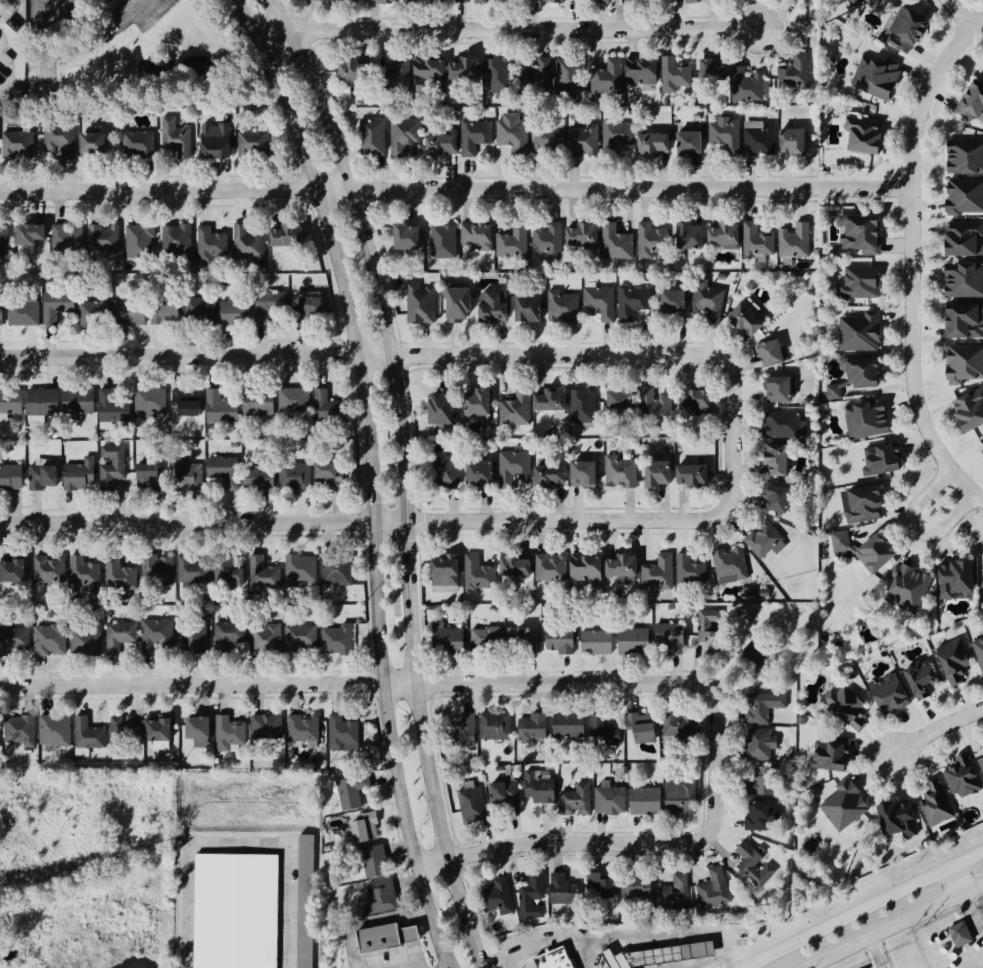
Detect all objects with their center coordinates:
building: (319, 0)
building: (417, 0)
building: (453, 0)
building: (563, 0)
building: (602, 0)
building: (638, 0)
building: (392, 1)
building: (482, 1)
building: (693, 1)
building: (848, 3)
road: (957, 15)
road: (504, 29)
building: (901, 32)
road: (88, 44)
road: (15, 52)
park: (133, 55)
building: (432, 69)
building: (468, 69)
building: (716, 69)
building: (358, 70)
building: (544, 70)
building: (645, 71)
building: (500, 74)
building: (570, 74)
building: (796, 74)
building: (676, 75)
building: (610, 76)
building: (871, 78)
building: (751, 88)
building: (969, 102)
building: (513, 133)
building: (406, 135)
building: (476, 136)
building: (618, 136)
building: (725, 136)
building: (858, 136)
building: (374, 137)
building: (177, 138)
building: (548, 139)
building: (759, 139)
building: (60, 140)
building: (584, 140)
building: (219, 141)
building: (796, 141)
building: (256, 142)
building: (19, 143)
building: (97, 143)
building: (140, 143)
building: (656, 143)
building: (692, 143)
building: (445, 144)
building: (962, 157)
road: (455, 188)
building: (962, 197)
building: (586, 234)
building: (857, 234)
building: (729, 235)
building: (33, 236)
building: (289, 236)
building: (688, 236)
building: (411, 237)
building: (479, 237)
building: (69, 238)
building: (5, 239)
building: (105, 239)
building: (178, 239)
building: (141, 240)
building: (550, 240)
building: (960, 240)
building: (445, 241)
building: (652, 241)
building: (795, 241)
building: (250, 243)
building: (618, 243)
building: (758, 243)
building: (514, 244)
building: (212, 245)
road: (911, 260)
building: (960, 281)
building: (856, 283)
building: (708, 298)
building: (602, 301)
building: (634, 301)
building: (672, 301)
building: (313, 304)
building: (421, 304)
building: (462, 304)
building: (496, 304)
building: (564, 305)
building: (60, 306)
building: (530, 308)
building: (201, 310)
building: (133, 311)
building: (168, 312)
building: (237, 312)
building: (96, 313)
building: (25, 314)
building: (2, 316)
building: (750, 317)
building: (961, 321)
building: (855, 333)
building: (774, 353)
road: (362, 354)
building: (961, 365)
building: (852, 377)
building: (781, 389)
building: (295, 400)
building: (80, 401)
building: (550, 401)
building: (624, 401)
building: (698, 401)
building: (190, 402)
building: (11, 403)
building: (151, 403)
building: (44, 404)
building: (261, 404)
building: (583, 405)
building: (657, 405)
building: (329, 407)
building: (113, 408)
building: (222, 408)
building: (446, 409)
building: (517, 410)
building: (966, 410)
building: (862, 420)
building: (787, 425)
building: (981, 451)
building: (781, 460)
building: (876, 461)
building: (112, 466)
building: (515, 468)
building: (187, 470)
building: (449, 470)
building: (226, 471)
building: (484, 472)
building: (622, 472)
building: (656, 473)
building: (554, 474)
building: (588, 474)
building: (44, 475)
building: (81, 475)
building: (150, 475)
building: (698, 475)
building: (332, 476)
building: (12, 477)
building: (297, 477)
road: (370, 477)
road: (404, 477)
building: (262, 479)
building: (779, 498)
building: (859, 505)
road: (437, 519)
road: (917, 528)
building: (765, 541)
building: (860, 550)
building: (731, 566)
building: (519, 567)
building: (553, 568)
building: (589, 568)
building: (299, 569)
building: (336, 569)
building: (625, 569)
building: (50, 570)
building: (159, 570)
building: (231, 570)
building: (448, 570)
building: (16, 571)
building: (193, 571)
building: (690, 571)
building: (660, 572)
building: (980, 572)
building: (265, 574)
building: (480, 574)
building: (86, 575)
building: (121, 575)
building: (950, 581)
building: (904, 589)
building: (446, 590)
building: (759, 593)
building: (491, 609)
building: (711, 630)
building: (982, 630)
building: (231, 634)
building: (670, 634)
building: (158, 635)
building: (522, 636)
building: (121, 637)
building: (195, 637)
building: (16, 638)
building: (267, 638)
building: (302, 638)
building: (450, 638)
building: (487, 638)
building: (51, 640)
building: (339, 640)
building: (562, 640)
building: (637, 641)
building: (87, 643)
building: (596, 643)
building: (977, 654)
building: (752, 655)
building: (950, 663)
building: (918, 680)
road: (354, 683)
building: (886, 695)
building: (765, 707)
building: (843, 708)
building: (571, 725)
building: (497, 726)
building: (680, 726)
building: (535, 727)
building: (268, 728)
building: (601, 728)
building: (647, 728)
road: (935, 729)
building: (55, 730)
building: (127, 730)
building: (305, 730)
building: (469, 730)
building: (202, 731)
building: (20, 732)
building: (230, 735)
building: (344, 735)
building: (763, 744)
building: (0, 746)
building: (826, 755)
building: (979, 769)
building: (959, 778)
building: (767, 781)
building: (542, 787)
building: (508, 789)
building: (683, 797)
building: (578, 800)
building: (612, 800)
building: (648, 800)
building: (474, 805)
building: (932, 805)
building: (841, 806)
building: (763, 818)
building: (893, 819)
building: (368, 828)
road: (634, 842)
road: (232, 844)
building: (373, 860)
building: (755, 865)
road: (955, 881)
building: (602, 888)
building: (641, 890)
building: (715, 890)
building: (567, 891)
building: (676, 893)
building: (382, 897)
building: (500, 897)
building: (532, 897)
building: (306, 901)
road: (970, 909)
road: (863, 910)
building: (235, 911)
road: (893, 926)
road: (618, 935)
building: (957, 935)
building: (378, 939)
road: (875, 952)
building: (666, 956)
building: (553, 959)
road: (415, 967)
road: (447, 967)

